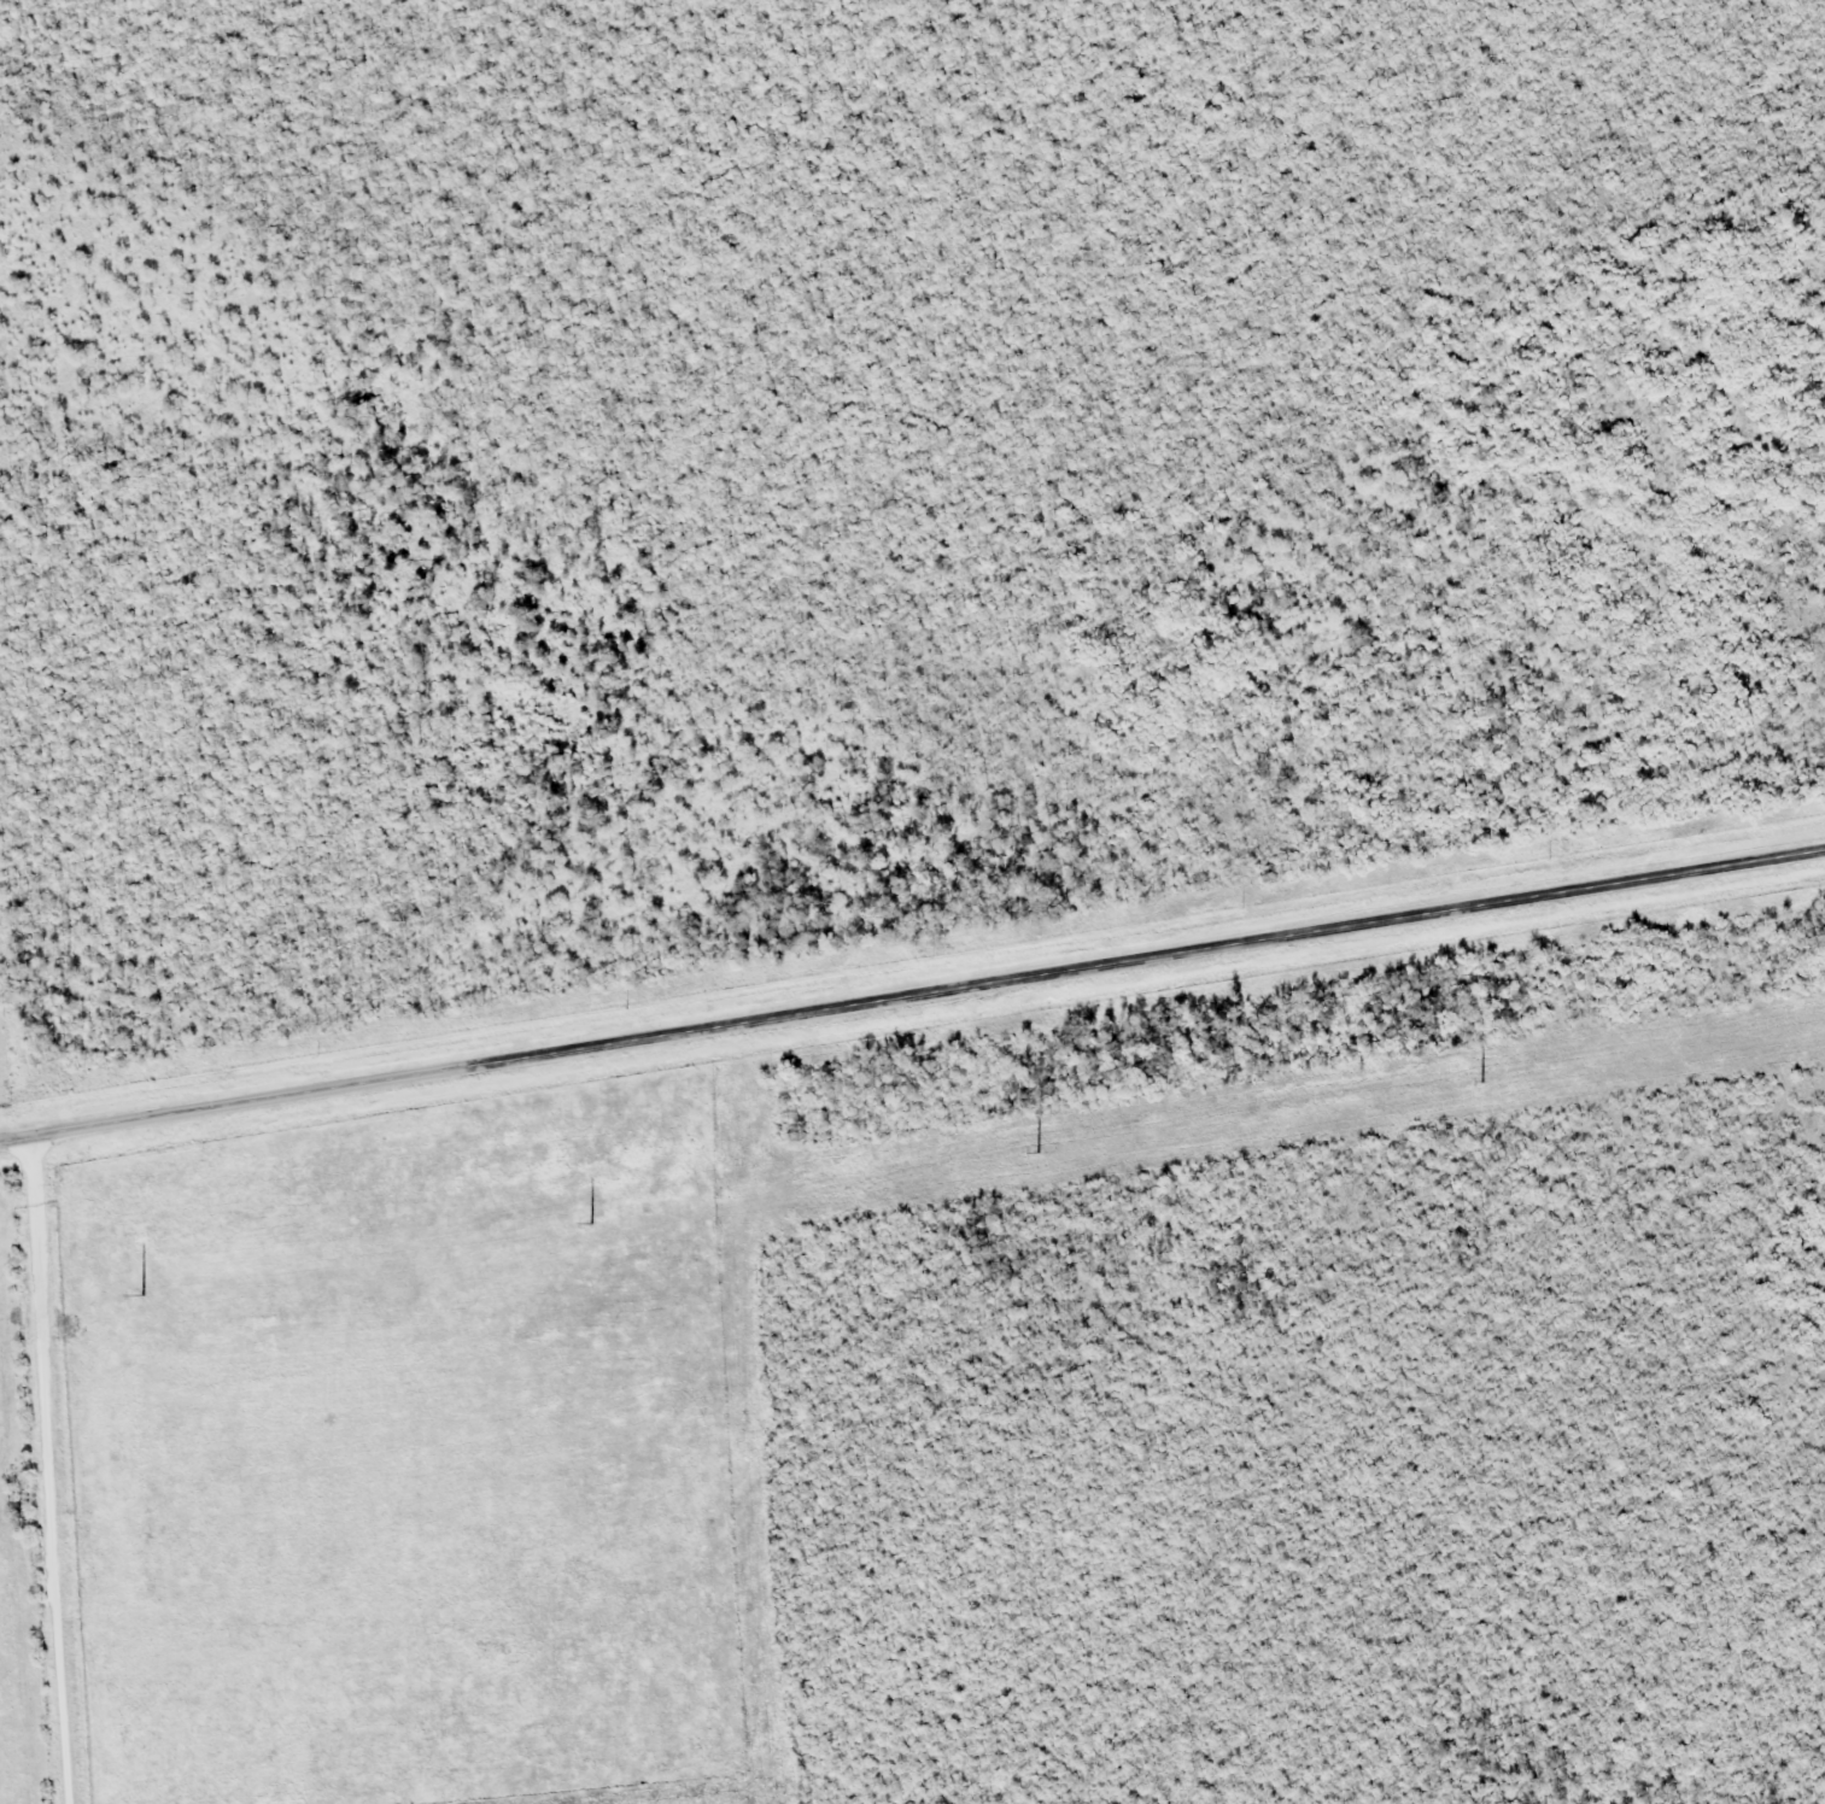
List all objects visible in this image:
road: (911, 991)
power tower: (1469, 1084)
power tower: (1024, 1155)
power tower: (579, 1226)
power tower: (129, 1296)
road: (41, 1472)

